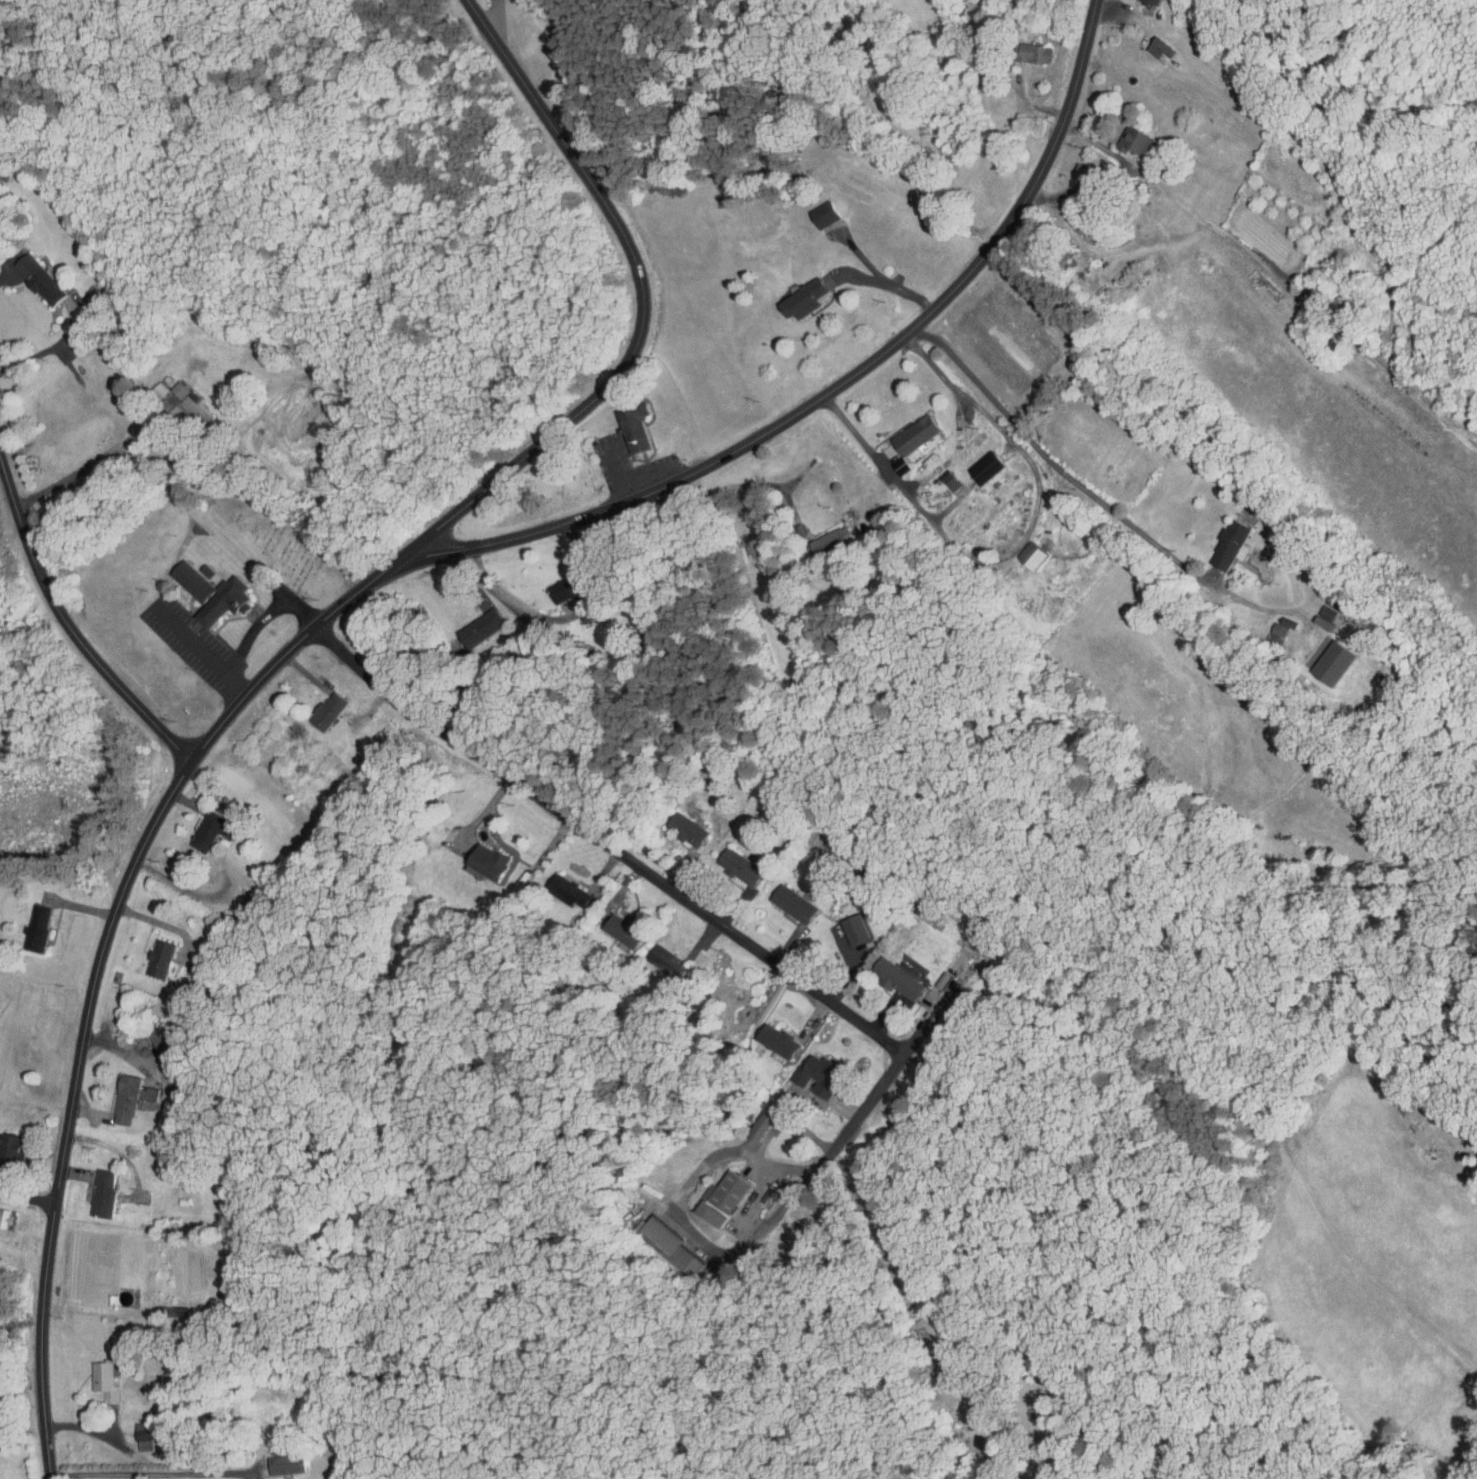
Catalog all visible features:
road: (496, 16)
building: (1144, 41)
building: (1016, 47)
building: (1120, 137)
road: (1160, 186)
building: (809, 209)
road: (5, 273)
building: (26, 274)
road: (888, 283)
building: (788, 293)
road: (647, 303)
road: (48, 348)
building: (145, 384)
road: (843, 384)
building: (178, 398)
building: (618, 423)
building: (900, 429)
road: (1052, 461)
building: (971, 462)
road: (91, 463)
road: (616, 476)
building: (938, 476)
road: (731, 487)
building: (814, 534)
building: (1215, 540)
road: (1019, 547)
building: (1017, 550)
building: (178, 574)
building: (210, 596)
building: (1313, 607)
building: (1307, 617)
road: (567, 618)
road: (263, 620)
building: (466, 622)
building: (1263, 628)
road: (68, 633)
road: (202, 650)
building: (1317, 658)
building: (313, 706)
building: (672, 823)
building: (193, 826)
road: (606, 844)
building: (472, 855)
building: (726, 860)
building: (554, 885)
building: (777, 896)
building: (23, 922)
building: (608, 925)
building: (146, 953)
building: (652, 955)
road: (100, 959)
building: (881, 973)
building: (154, 1034)
building: (763, 1035)
road: (896, 1068)
building: (804, 1071)
building: (120, 1092)
building: (744, 1122)
building: (8, 1142)
road: (784, 1167)
building: (97, 1187)
building: (707, 1193)
road: (682, 1194)
road: (27, 1195)
road: (750, 1204)
building: (1, 1210)
building: (659, 1240)
building: (98, 1373)
road: (88, 1429)
building: (135, 1430)
building: (278, 1458)
road: (150, 1474)

